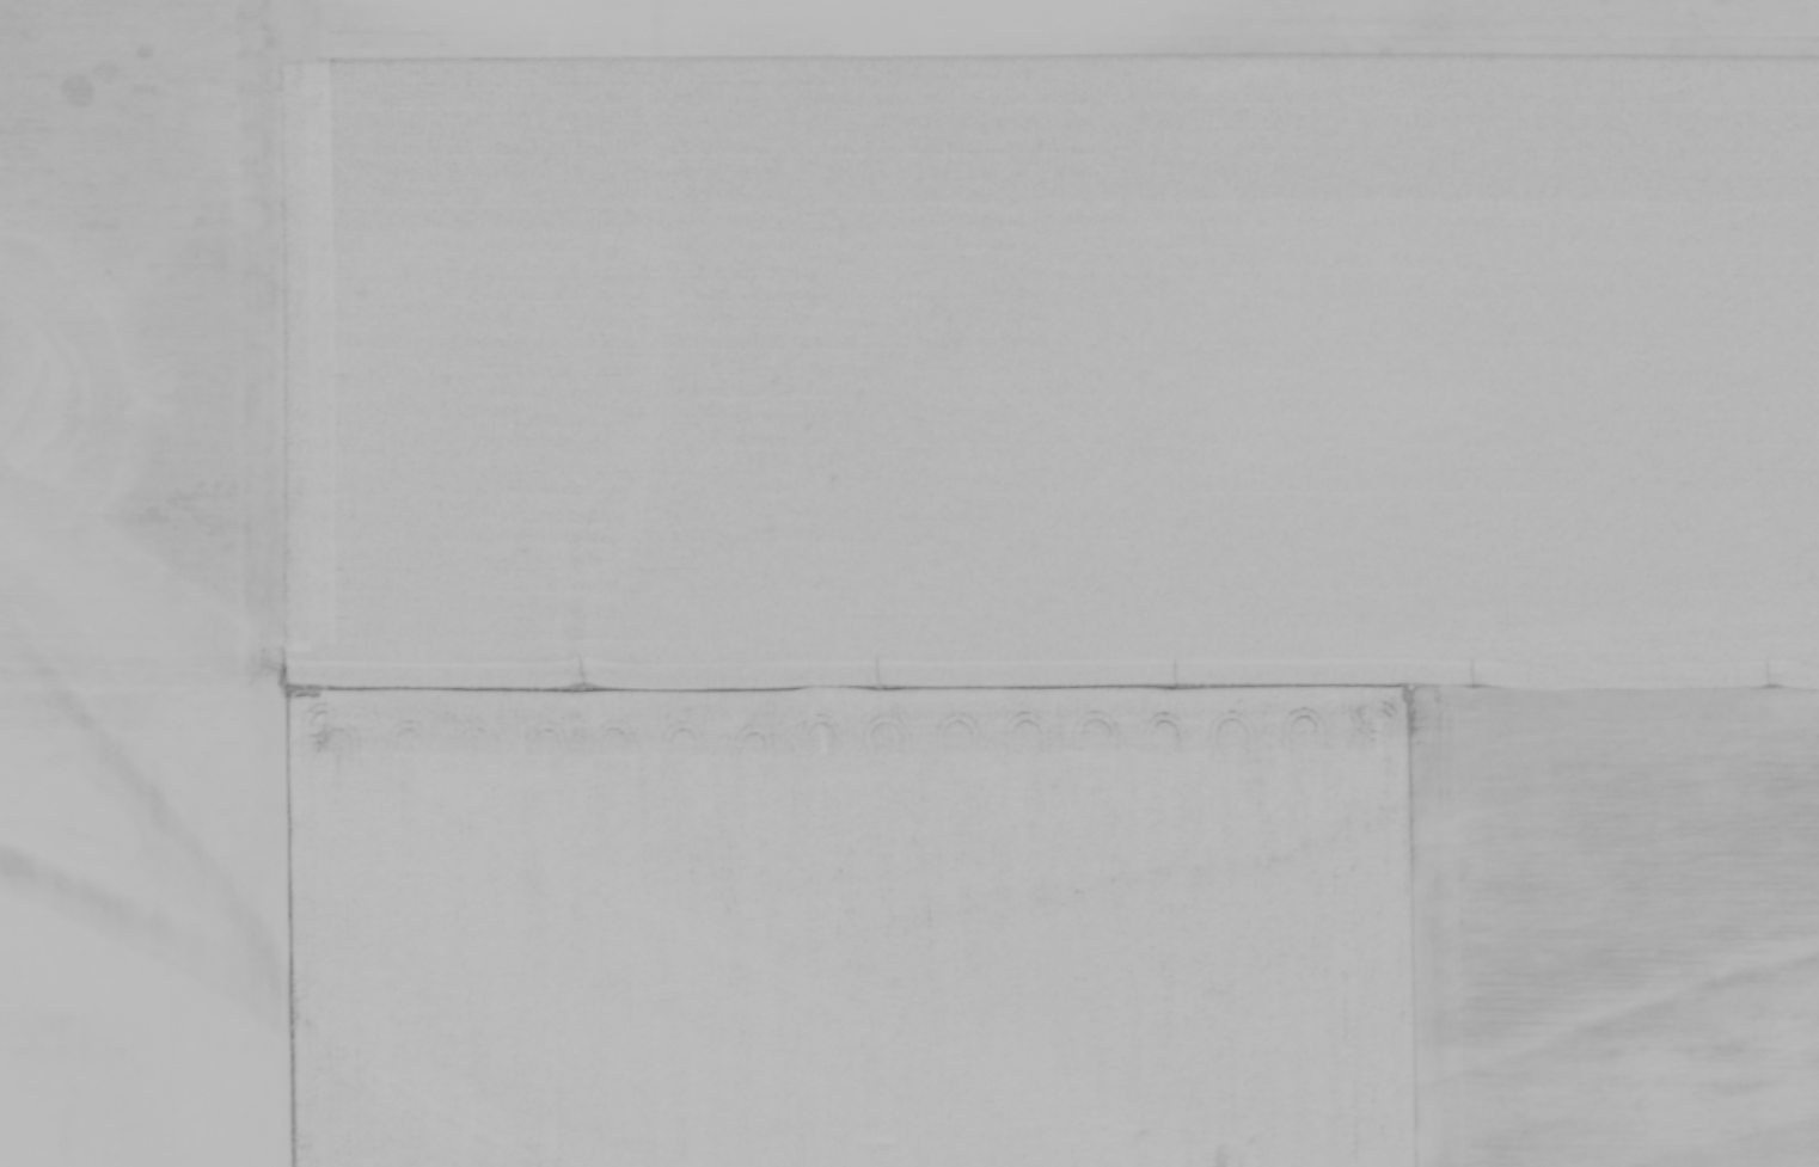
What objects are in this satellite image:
power tower: (1183, 680)
power tower: (882, 681)
power tower: (1478, 681)
power tower: (288, 683)
power tower: (584, 683)
power tower: (1774, 683)

